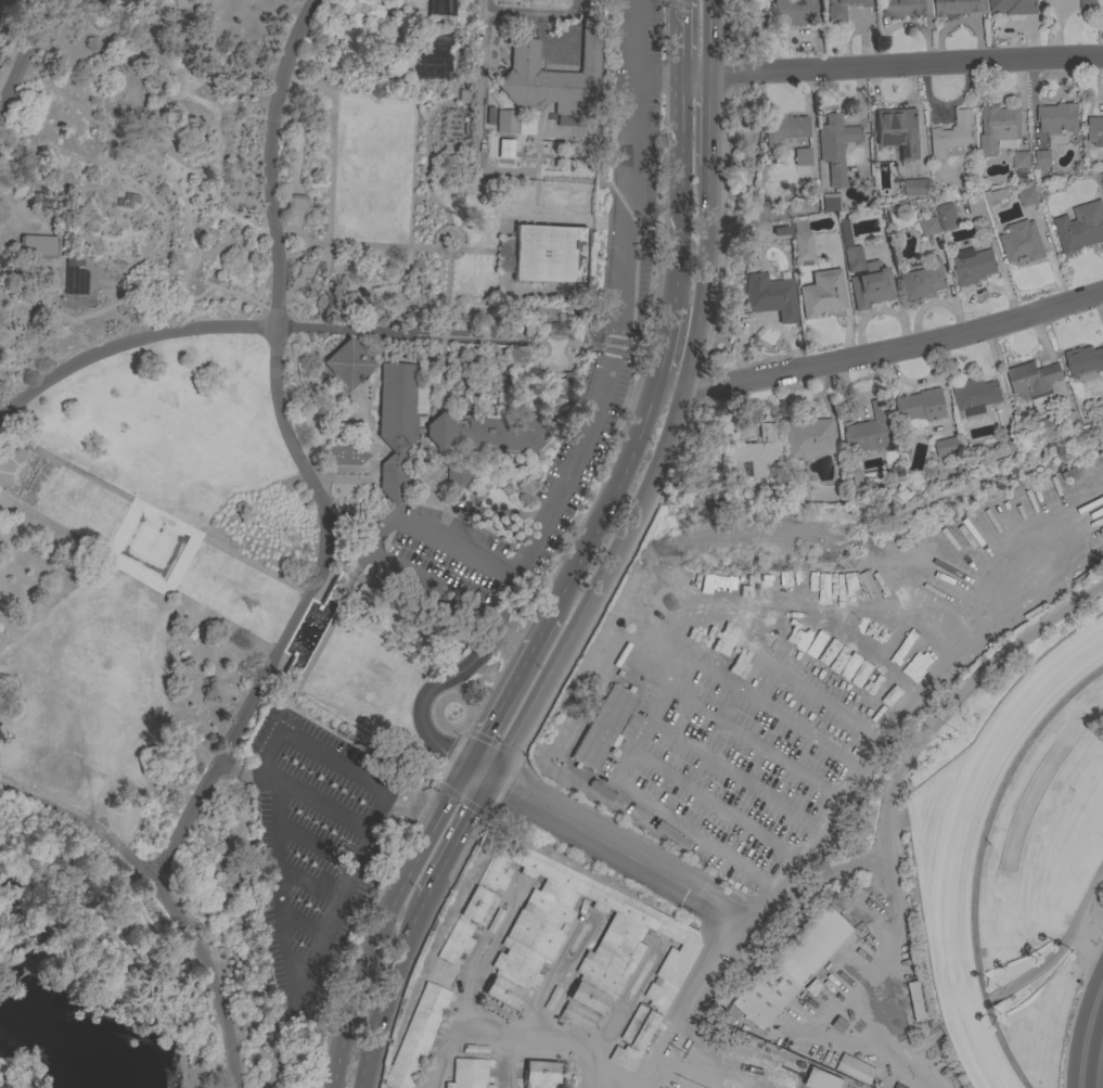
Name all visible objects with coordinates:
building: (512, 0)
building: (1102, 3)
building: (1088, 4)
building: (410, 7)
building: (440, 7)
building: (958, 7)
building: (1014, 7)
building: (842, 8)
building: (901, 9)
building: (793, 11)
road: (682, 37)
road: (707, 37)
road: (24, 55)
building: (433, 65)
road: (892, 66)
road: (658, 75)
building: (554, 76)
road: (483, 84)
building: (376, 89)
building: (460, 95)
road: (424, 97)
road: (448, 100)
road: (0, 105)
road: (682, 111)
road: (708, 117)
building: (1057, 118)
building: (506, 121)
building: (997, 128)
building: (784, 129)
building: (898, 131)
building: (1094, 131)
building: (952, 137)
road: (332, 140)
building: (835, 145)
building: (801, 156)
building: (1042, 157)
building: (1021, 159)
road: (295, 166)
road: (117, 172)
road: (412, 174)
road: (241, 178)
building: (1101, 179)
building: (915, 188)
building: (995, 195)
building: (1026, 195)
building: (297, 201)
building: (830, 202)
building: (975, 205)
building: (947, 217)
building: (928, 226)
building: (1080, 227)
road: (680, 228)
building: (801, 240)
building: (1021, 242)
building: (39, 244)
road: (303, 244)
road: (371, 244)
road: (486, 248)
road: (448, 252)
building: (549, 254)
building: (973, 266)
road: (306, 270)
building: (864, 274)
building: (74, 277)
building: (923, 279)
road: (380, 286)
road: (321, 291)
building: (822, 293)
building: (768, 296)
road: (621, 299)
road: (312, 307)
road: (143, 312)
parking lot: (620, 320)
building: (556, 328)
road: (209, 329)
building: (528, 329)
road: (302, 341)
road: (669, 345)
road: (897, 348)
road: (288, 350)
building: (1083, 362)
building: (347, 363)
road: (24, 370)
building: (1034, 381)
building: (1102, 394)
building: (974, 397)
building: (400, 399)
building: (920, 406)
building: (1066, 420)
building: (870, 428)
building: (420, 430)
building: (438, 430)
building: (1047, 430)
building: (497, 433)
building: (807, 435)
building: (1011, 439)
building: (397, 441)
road: (423, 444)
building: (954, 447)
building: (759, 450)
building: (346, 453)
road: (299, 459)
park: (280, 473)
building: (854, 474)
building: (458, 475)
building: (394, 476)
road: (338, 481)
road: (38, 483)
road: (645, 484)
building: (796, 484)
road: (608, 500)
road: (155, 512)
road: (354, 522)
road: (121, 529)
road: (377, 539)
fountain: (150, 545)
road: (181, 562)
road: (139, 575)
fountain: (319, 611)
road: (539, 630)
road: (320, 641)
fountain: (298, 655)
road: (766, 666)
road: (677, 670)
road: (451, 678)
road: (499, 704)
building: (603, 728)
road: (754, 741)
road: (272, 750)
road: (735, 771)
building: (601, 791)
road: (889, 792)
road: (717, 803)
road: (302, 835)
road: (397, 835)
building: (670, 835)
track: (959, 835)
road: (456, 839)
road: (607, 845)
parking lot: (313, 847)
road: (310, 884)
road: (347, 885)
road: (63, 889)
road: (279, 891)
road: (168, 898)
road: (383, 920)
building: (495, 920)
road: (118, 935)
building: (525, 956)
building: (793, 965)
road: (90, 967)
road: (380, 989)
building: (551, 997)
building: (918, 1000)
road: (134, 1015)
building: (577, 1016)
road: (696, 1016)
road: (513, 1031)
track: (1087, 1031)
building: (418, 1037)
building: (475, 1049)
road: (722, 1068)
building: (855, 1070)
building: (469, 1074)
building: (540, 1075)
building: (821, 1079)
building: (899, 1086)
building: (2, 1087)
road: (595, 1087)

